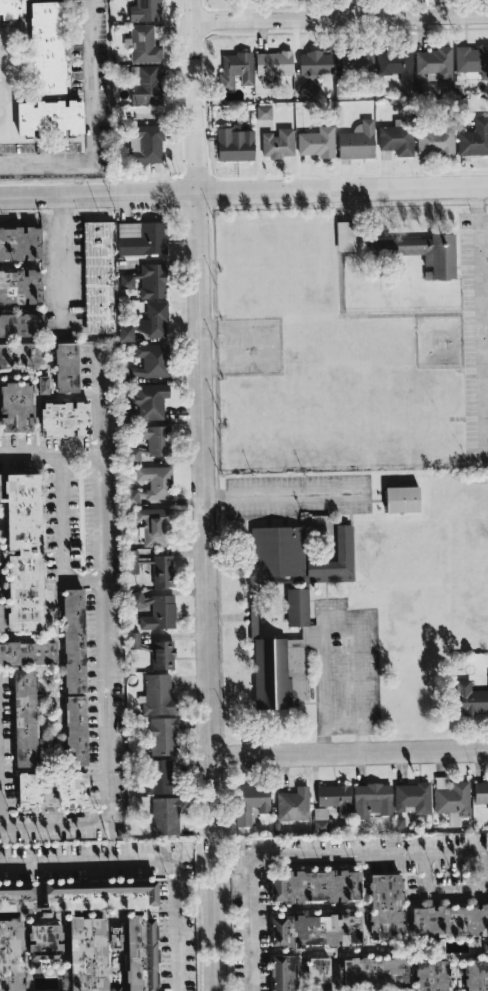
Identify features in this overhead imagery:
building: (12, 9)
building: (145, 11)
road: (341, 13)
building: (144, 45)
building: (47, 48)
building: (356, 60)
building: (472, 61)
building: (434, 63)
building: (395, 64)
building: (314, 65)
building: (273, 67)
building: (236, 70)
building: (147, 86)
road: (91, 97)
building: (264, 112)
building: (50, 118)
building: (437, 138)
building: (474, 139)
building: (397, 140)
building: (358, 141)
building: (316, 142)
building: (147, 143)
building: (278, 143)
building: (234, 144)
road: (46, 162)
road: (244, 191)
building: (345, 236)
building: (142, 238)
building: (20, 243)
building: (422, 253)
road: (62, 265)
building: (98, 277)
building: (147, 281)
building: (20, 287)
road: (481, 313)
building: (154, 320)
building: (21, 325)
building: (127, 333)
building: (21, 354)
building: (149, 363)
building: (66, 367)
building: (150, 400)
building: (16, 407)
building: (130, 414)
building: (66, 419)
building: (151, 444)
road: (50, 455)
building: (151, 485)
road: (285, 487)
building: (0, 494)
road: (205, 495)
building: (402, 499)
building: (155, 525)
road: (61, 536)
building: (23, 552)
building: (297, 556)
building: (151, 567)
road: (104, 605)
building: (154, 610)
road: (342, 614)
building: (0, 618)
building: (133, 640)
building: (28, 653)
building: (162, 655)
building: (285, 658)
building: (74, 677)
building: (158, 695)
building: (471, 699)
building: (25, 718)
building: (161, 735)
road: (349, 751)
building: (159, 777)
building: (53, 790)
building: (480, 793)
building: (335, 798)
building: (413, 798)
building: (452, 798)
building: (371, 800)
building: (250, 803)
building: (293, 805)
building: (165, 816)
building: (320, 819)
road: (55, 823)
road: (301, 853)
road: (86, 861)
building: (315, 886)
road: (437, 889)
building: (385, 907)
building: (450, 921)
road: (174, 925)
building: (316, 930)
building: (78, 937)
building: (284, 973)
building: (318, 974)
building: (371, 974)
building: (432, 975)
building: (476, 975)

